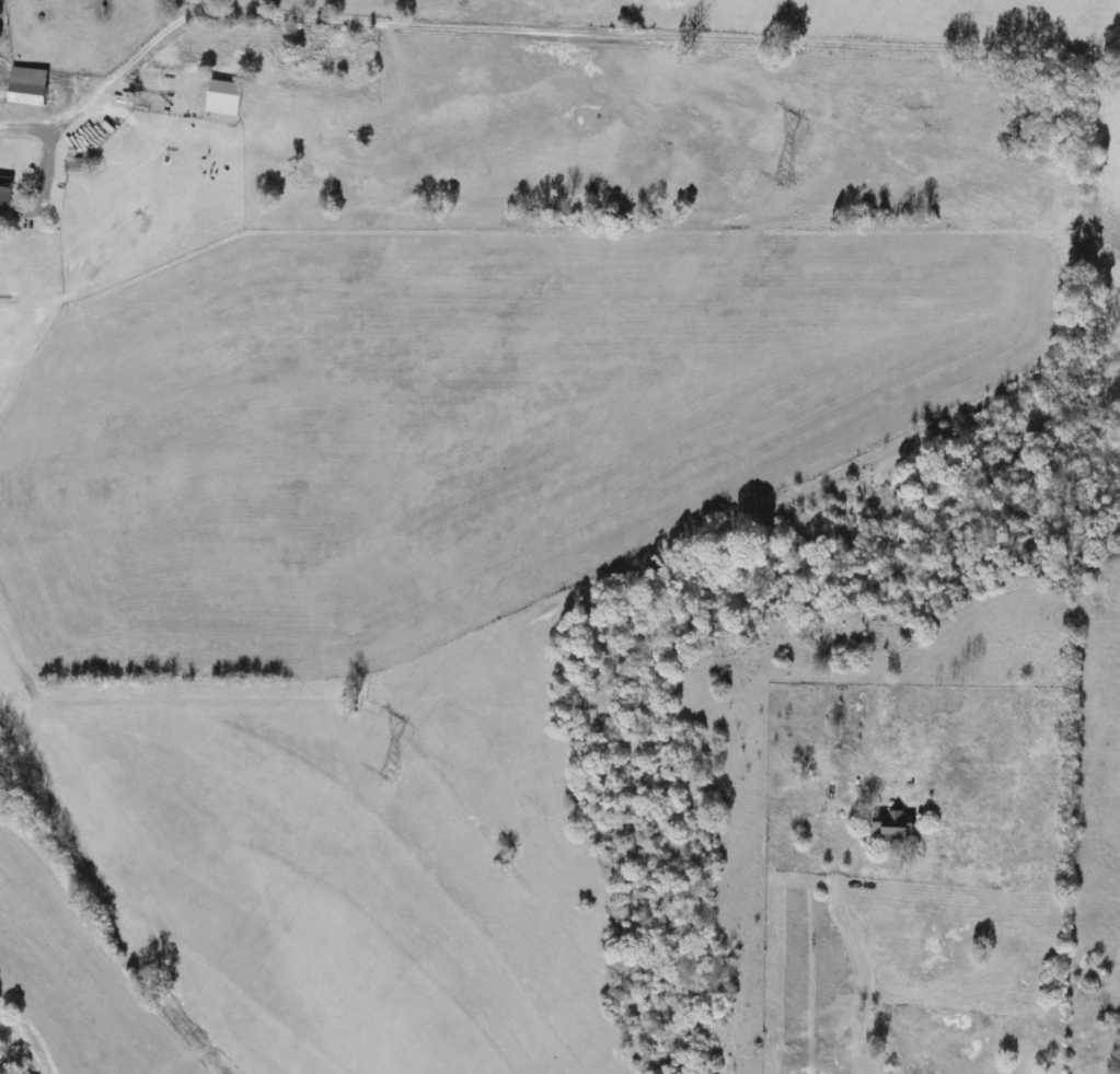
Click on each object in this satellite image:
road: (540, 27)
building: (31, 88)
building: (227, 99)
building: (78, 166)
power tower: (787, 180)
building: (7, 190)
building: (847, 742)
power tower: (390, 774)
building: (897, 828)
road: (868, 959)

